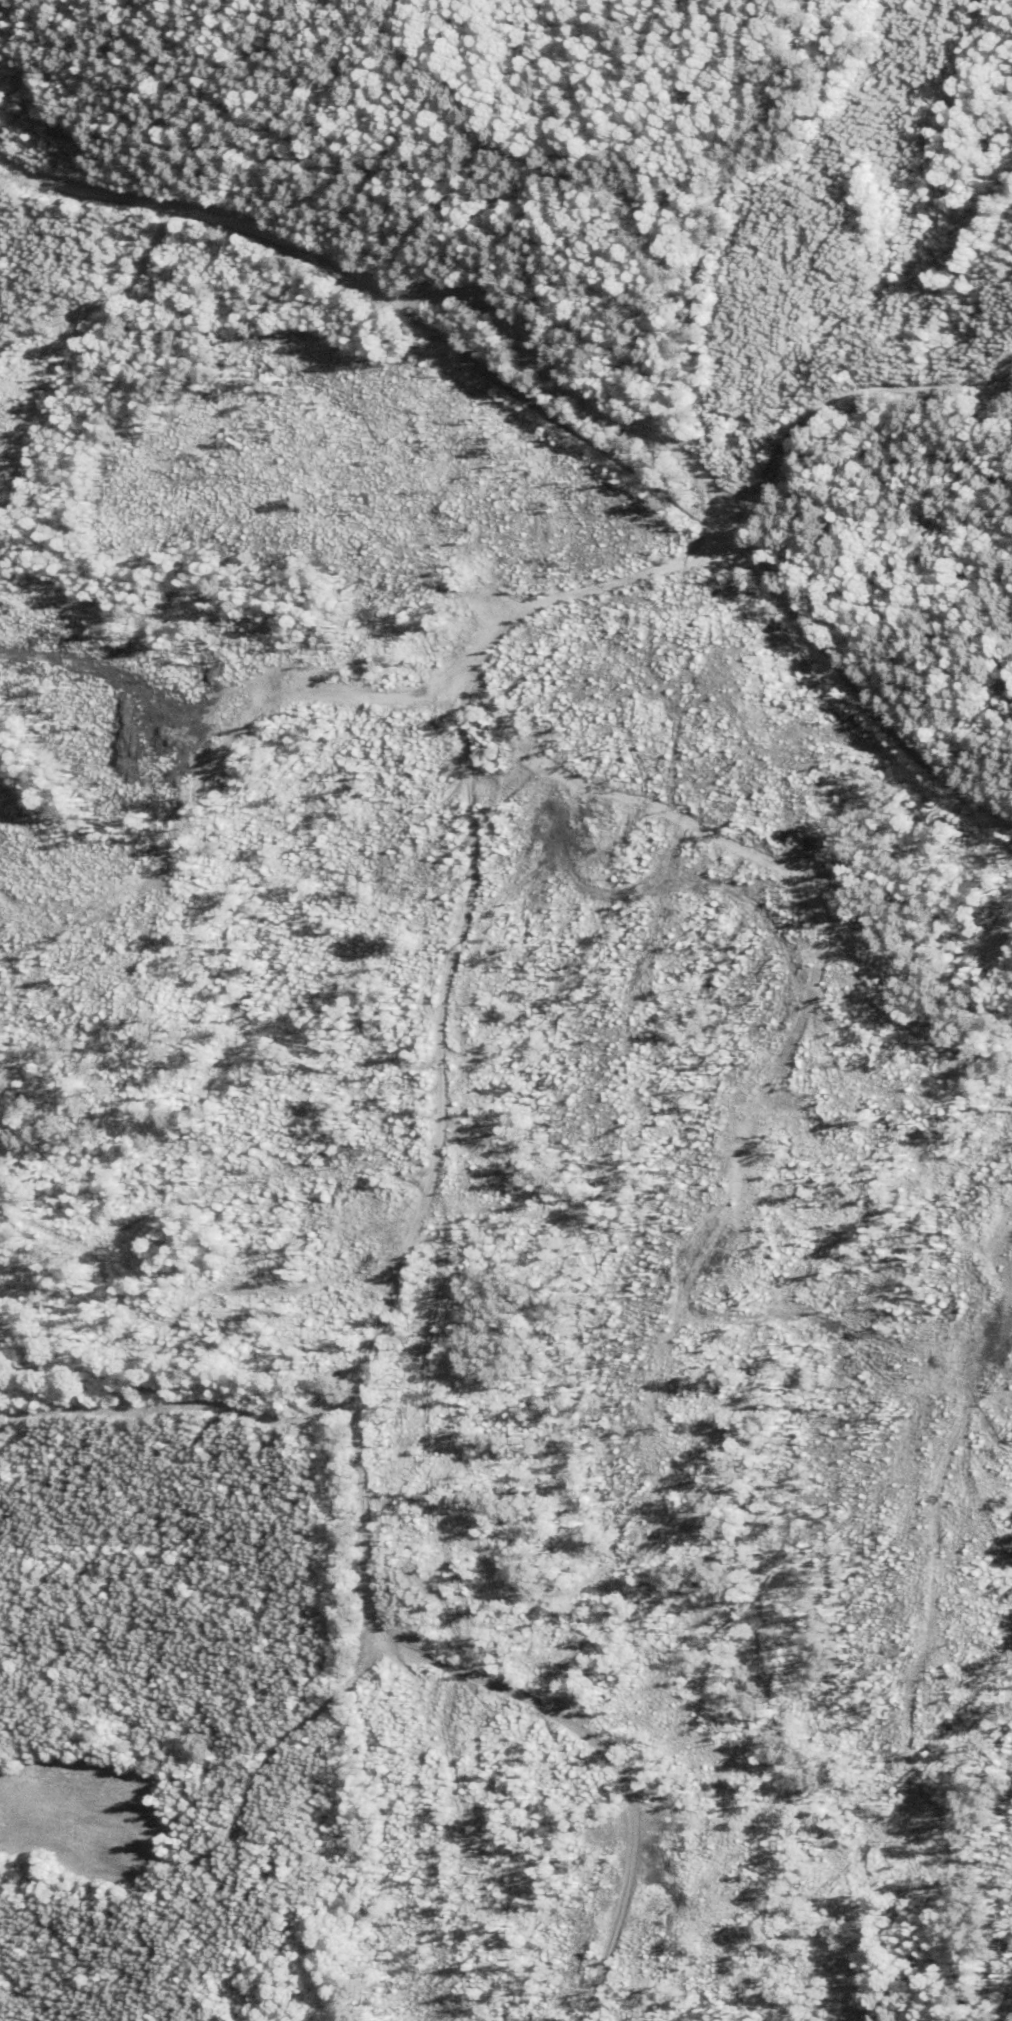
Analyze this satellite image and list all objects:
road: (500, 291)

